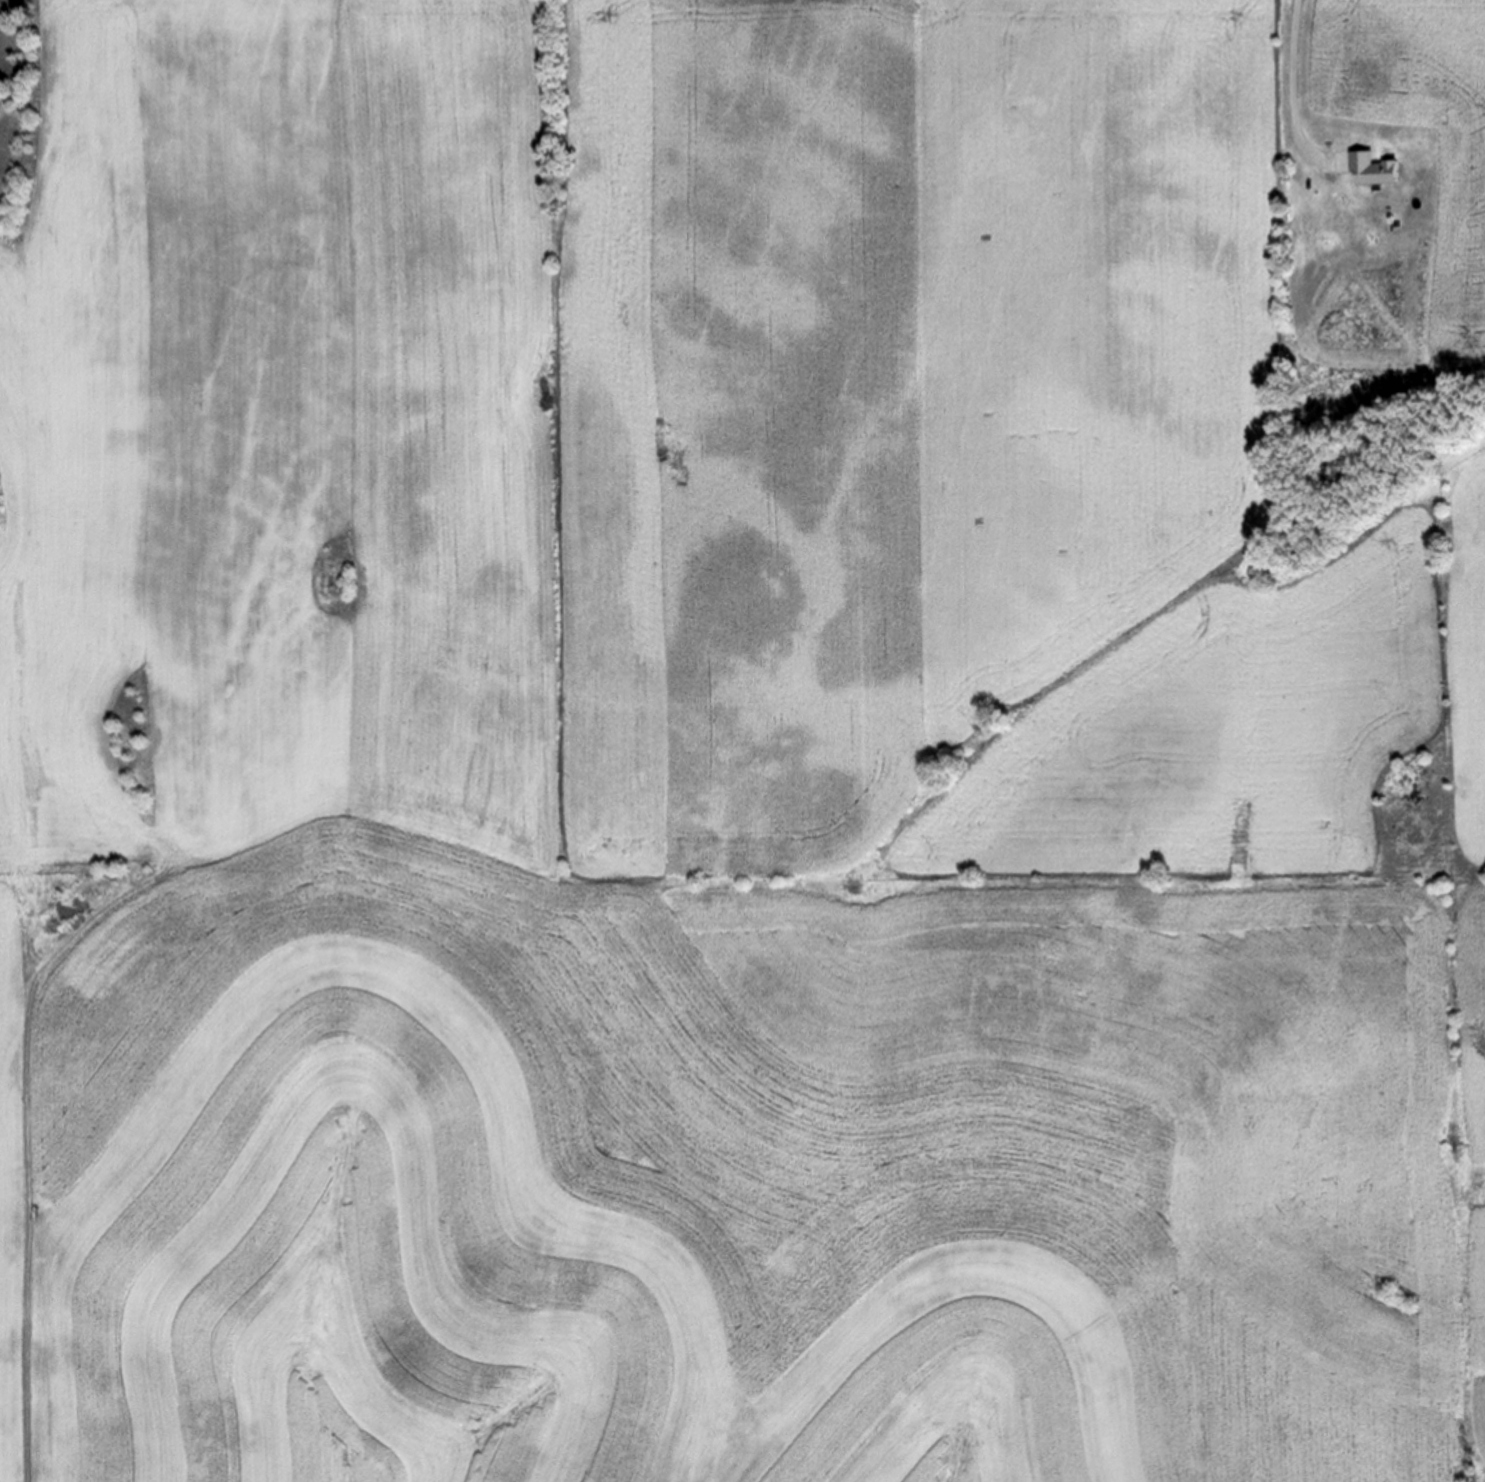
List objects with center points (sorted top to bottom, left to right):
road: (1284, 92)
quarry: (9, 785)
road: (86, 910)

